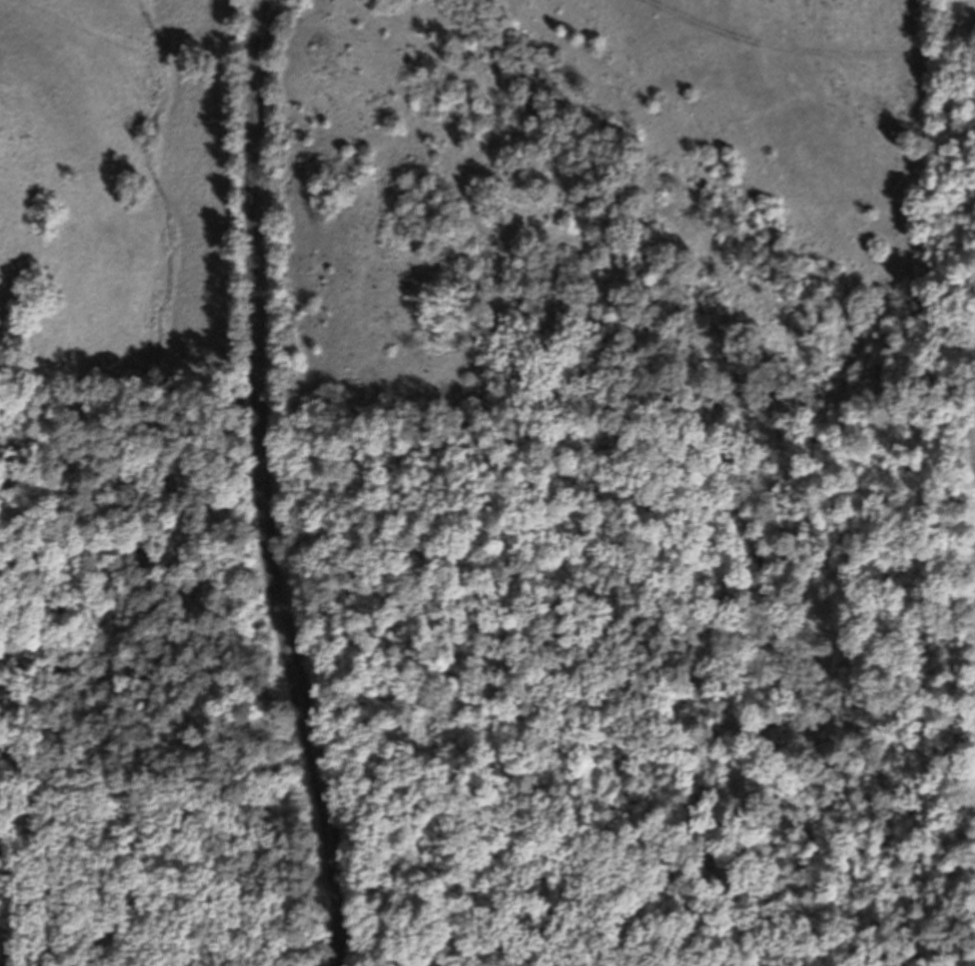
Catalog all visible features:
road: (268, 485)

